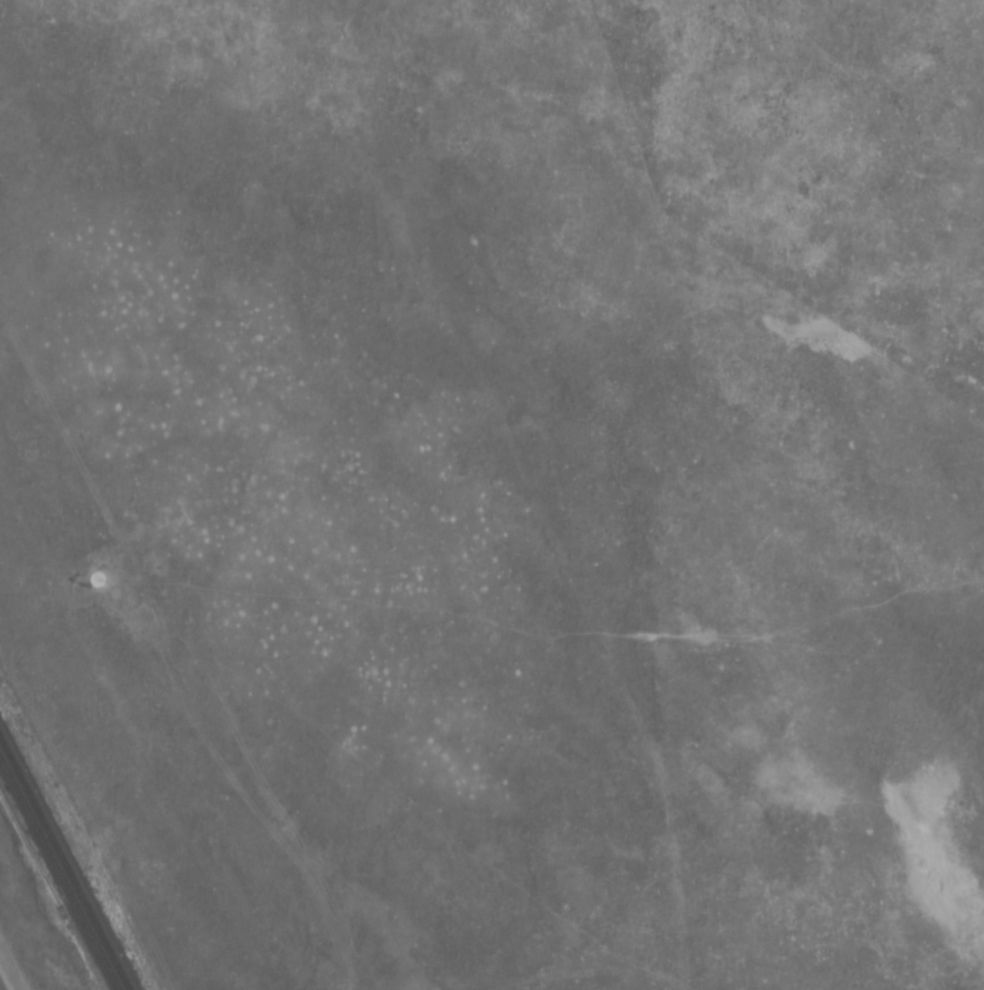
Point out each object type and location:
railway: (67, 859)
railway: (58, 873)
road: (1, 986)

